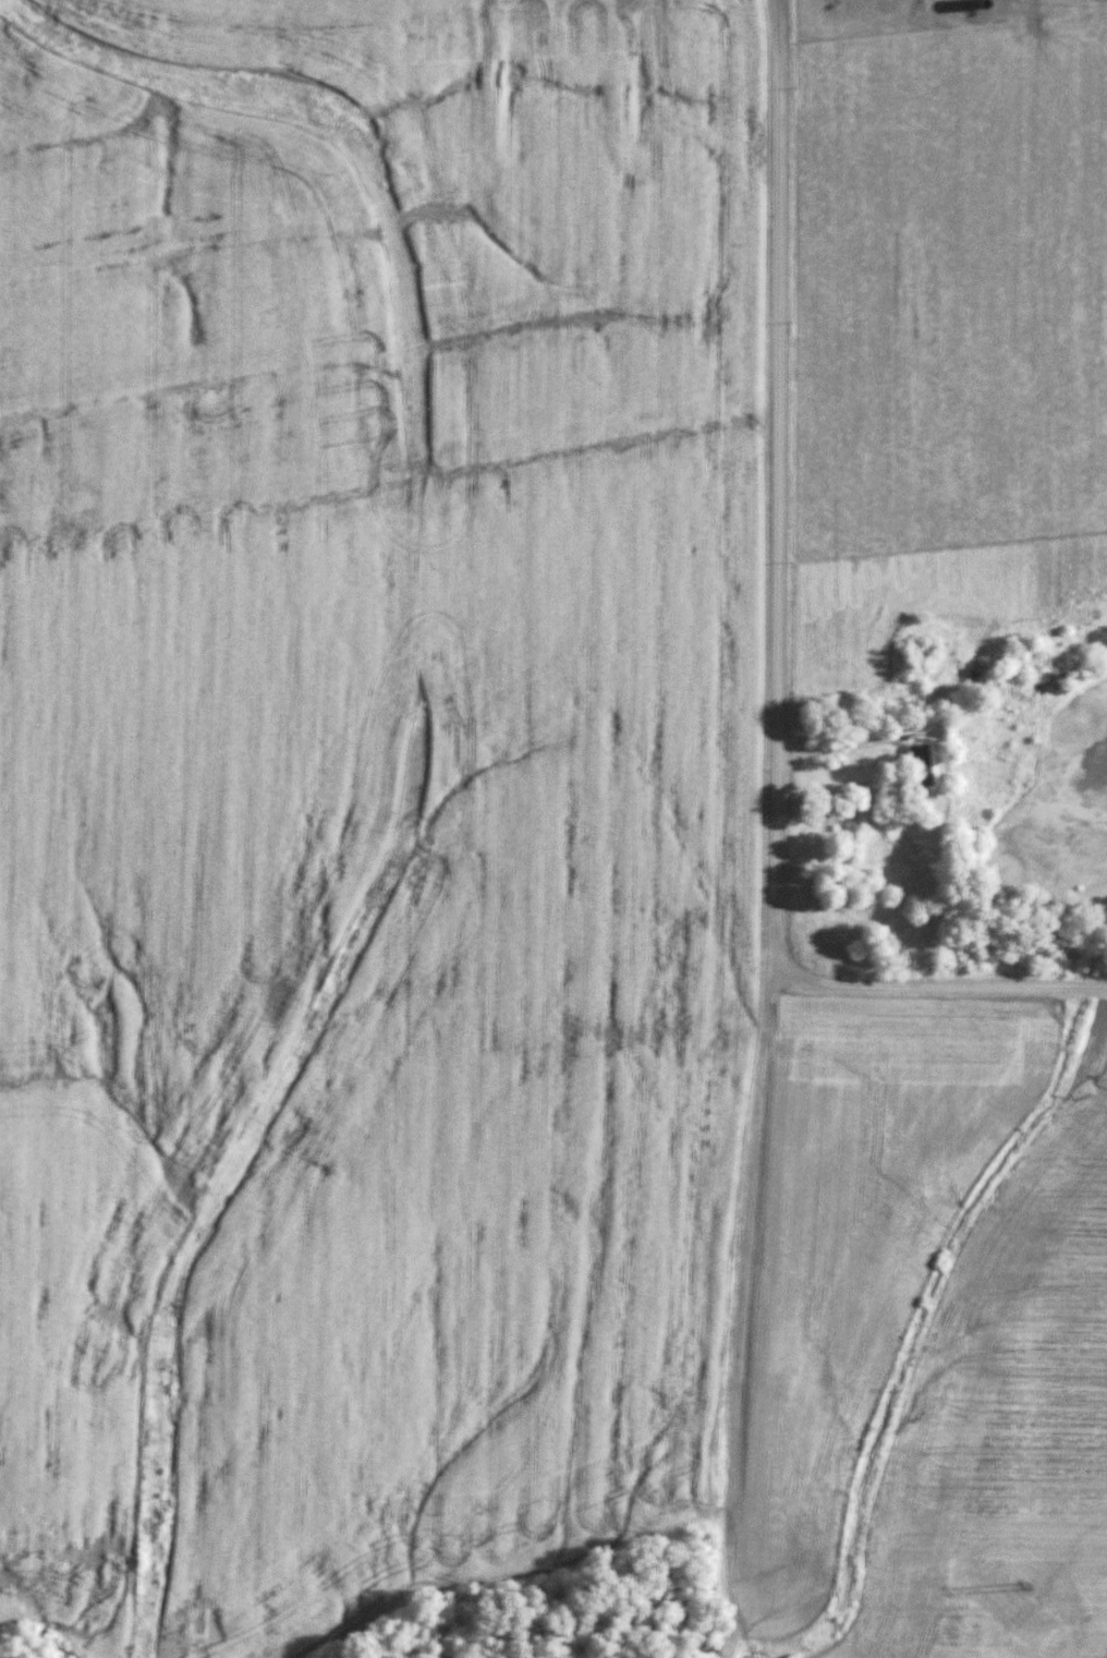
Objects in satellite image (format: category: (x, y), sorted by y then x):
road: (778, 648)
road: (851, 747)
building: (920, 765)
road: (743, 1311)

